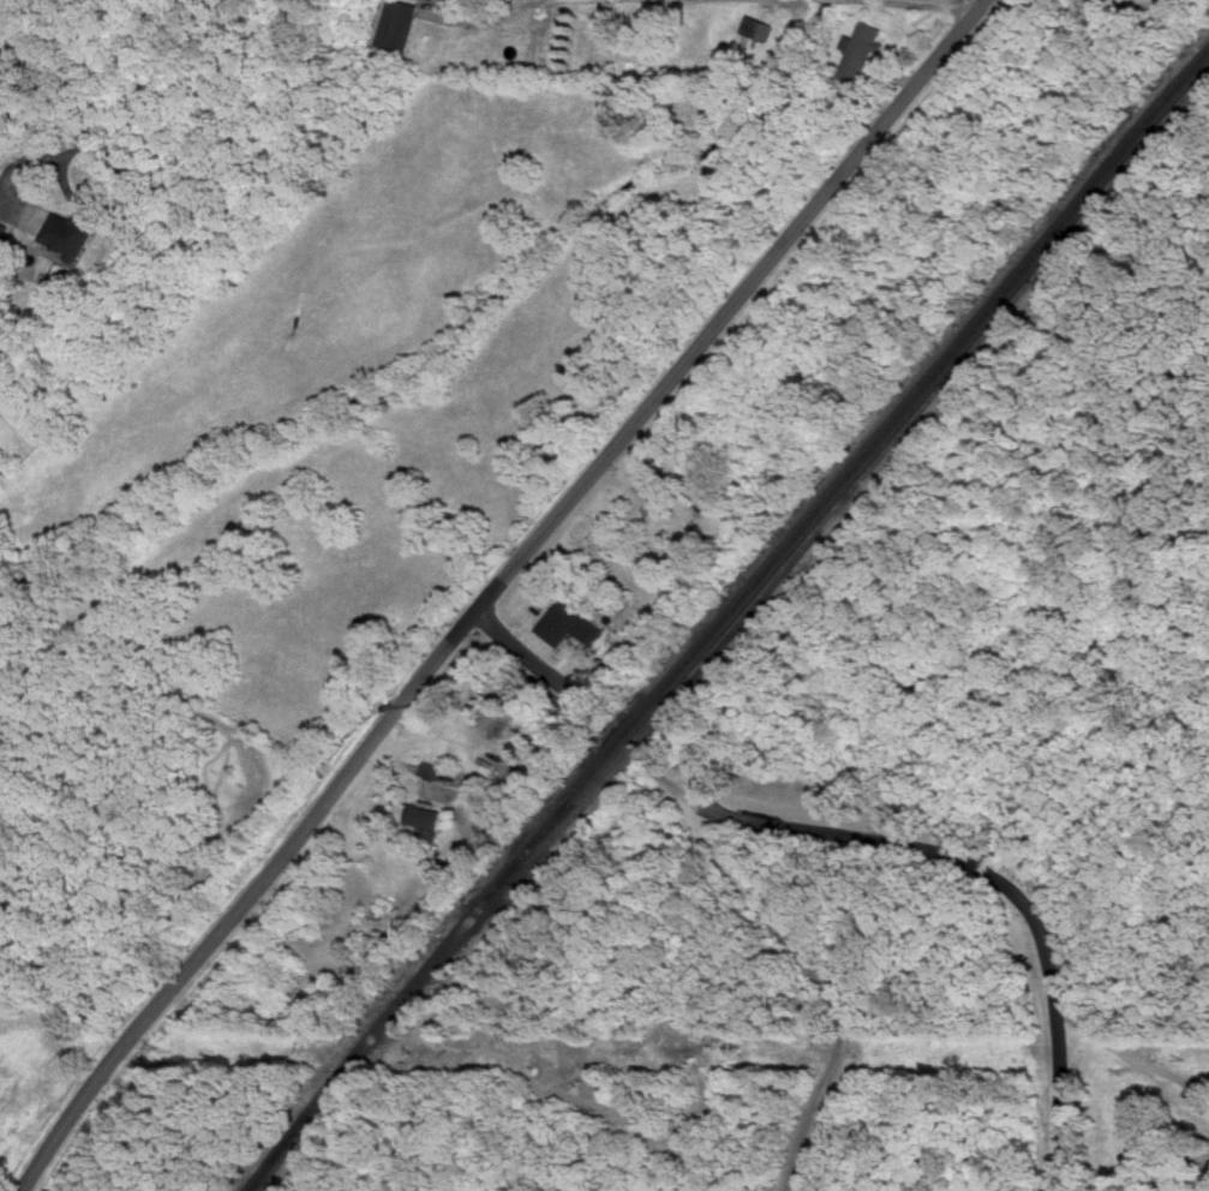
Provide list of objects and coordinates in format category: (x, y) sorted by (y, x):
road: (785, 4)
road: (1067, 10)
road: (481, 20)
building: (397, 24)
building: (760, 26)
building: (863, 49)
road: (79, 59)
road: (82, 203)
building: (2, 229)
building: (70, 234)
railway: (872, 465)
road: (493, 587)
railway: (726, 618)
building: (569, 622)
road: (535, 670)
road: (466, 761)
building: (510, 785)
building: (423, 813)
road: (994, 879)
road: (800, 957)
road: (1106, 1037)

